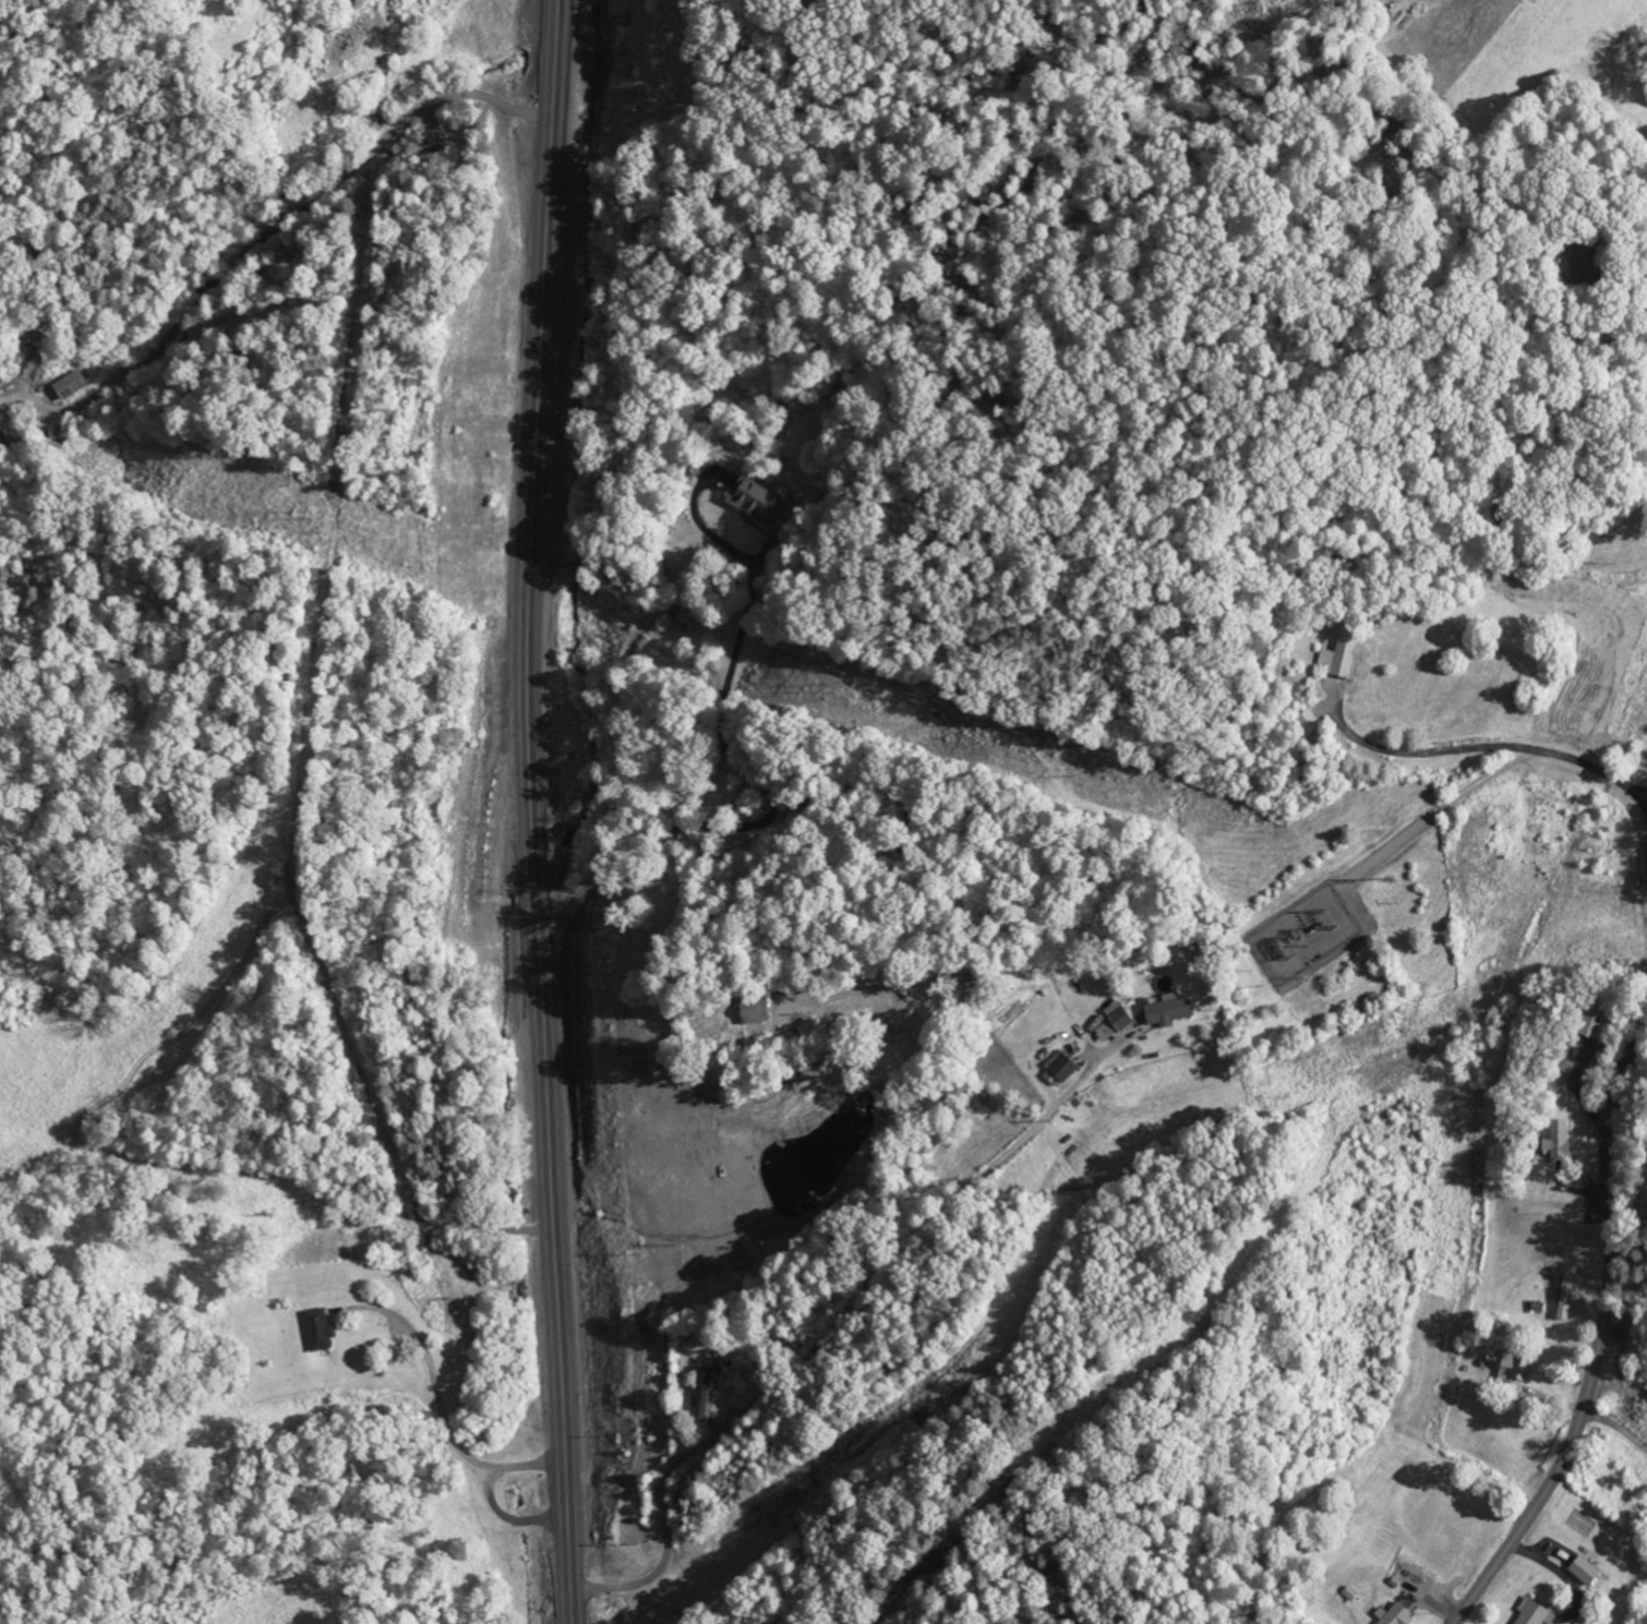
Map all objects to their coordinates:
road: (293, 207)
road: (1640, 237)
building: (1586, 263)
building: (69, 386)
building: (2, 436)
building: (757, 503)
power tower: (315, 509)
building: (1343, 658)
power tower: (828, 687)
building: (1310, 722)
road: (1481, 749)
power tower: (1078, 772)
road: (741, 777)
road: (531, 813)
power tower: (1391, 877)
power substation: (1308, 933)
building: (752, 1011)
building: (1167, 1011)
building: (1109, 1023)
building: (1592, 1023)
building: (1059, 1068)
building: (1558, 1141)
building: (1565, 1297)
road: (1631, 1299)
building: (318, 1330)
road: (822, 1337)
road: (1600, 1337)
building: (1513, 1368)
road: (436, 1385)
building: (700, 1393)
road: (1616, 1431)
road: (500, 1518)
building: (1584, 1571)
building: (1530, 1612)
building: (1394, 1616)

